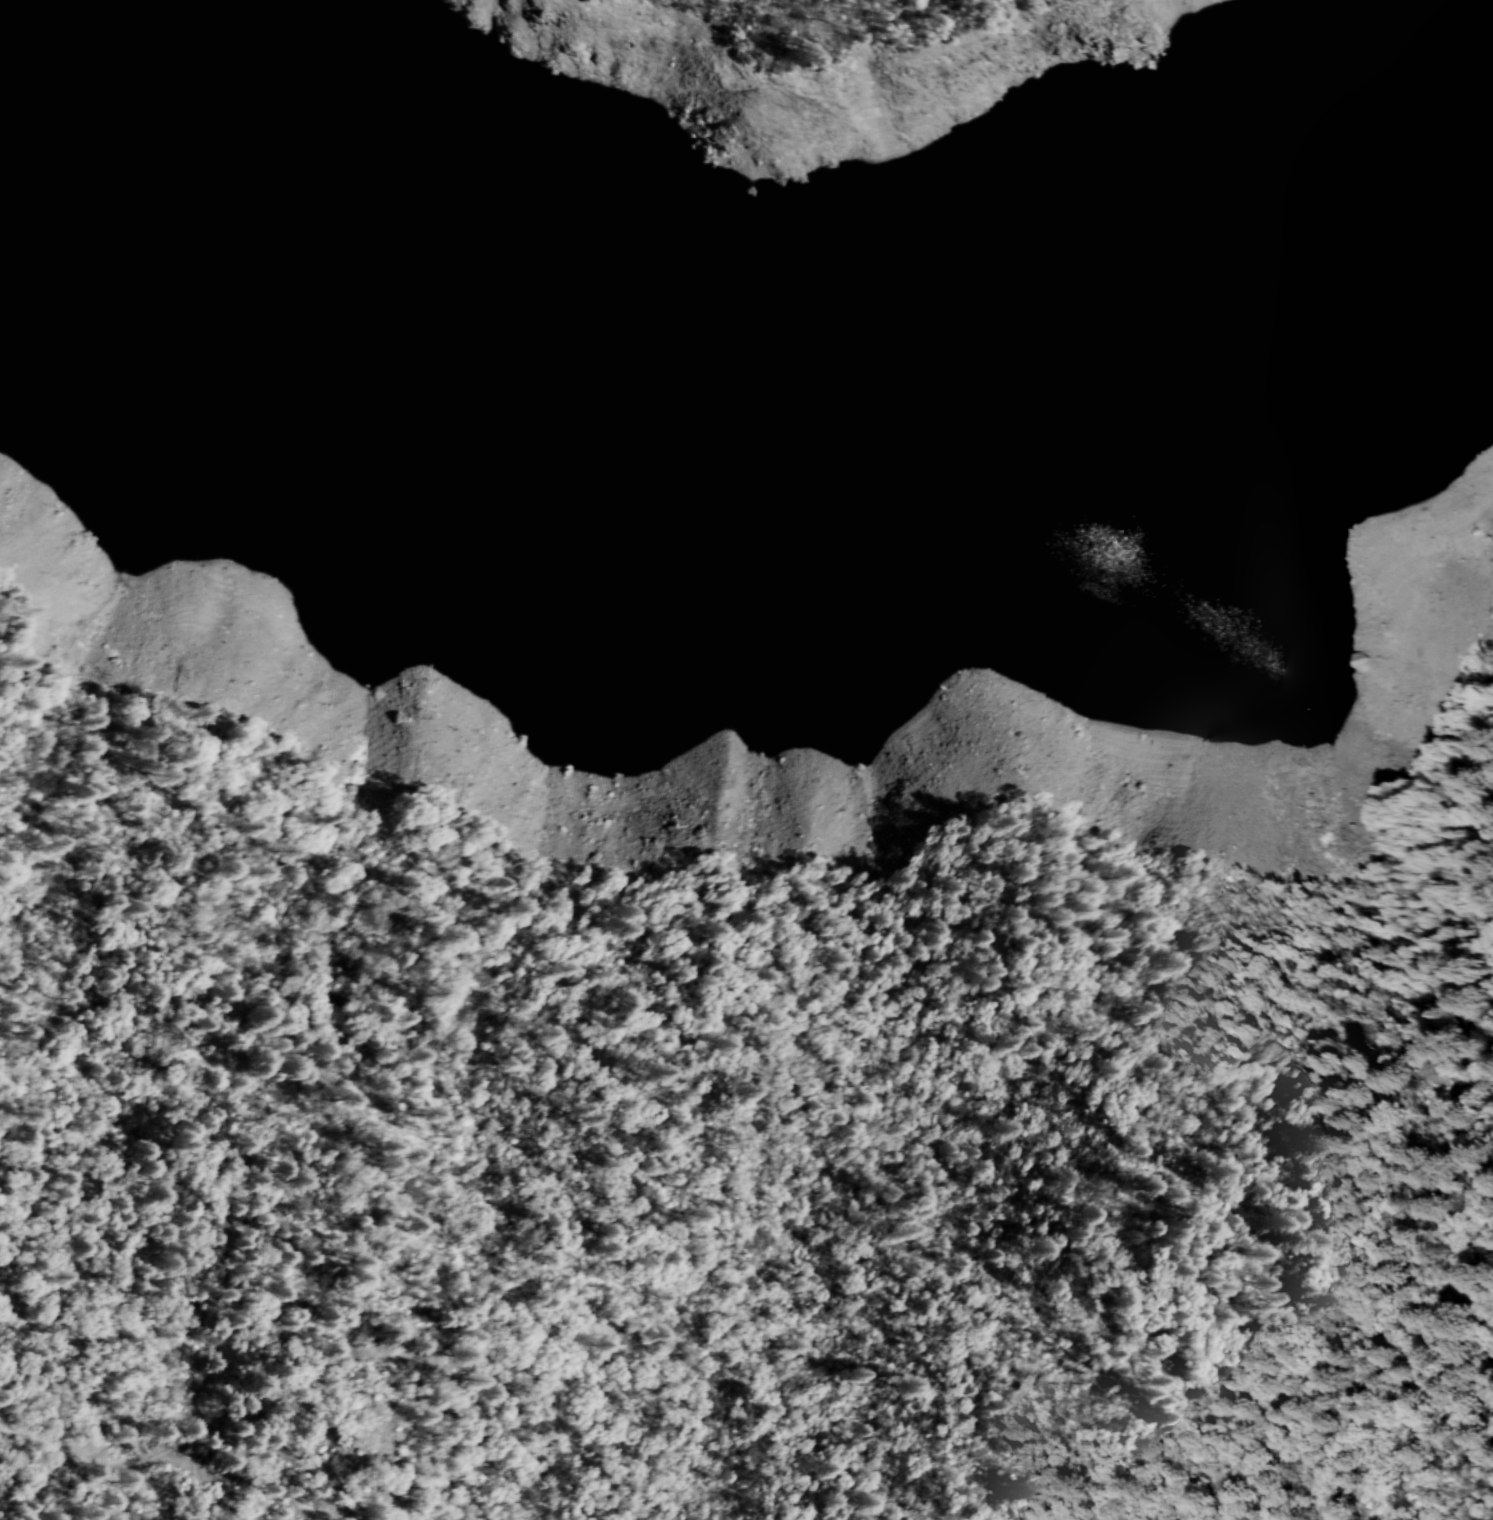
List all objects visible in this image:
river: (160, 173)
river: (933, 417)

